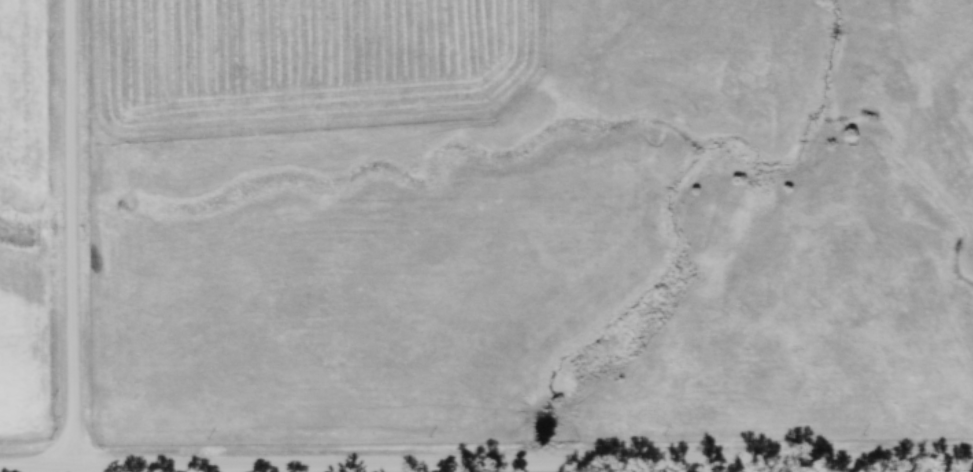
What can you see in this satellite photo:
road: (70, 235)
road: (522, 466)
road: (36, 470)

